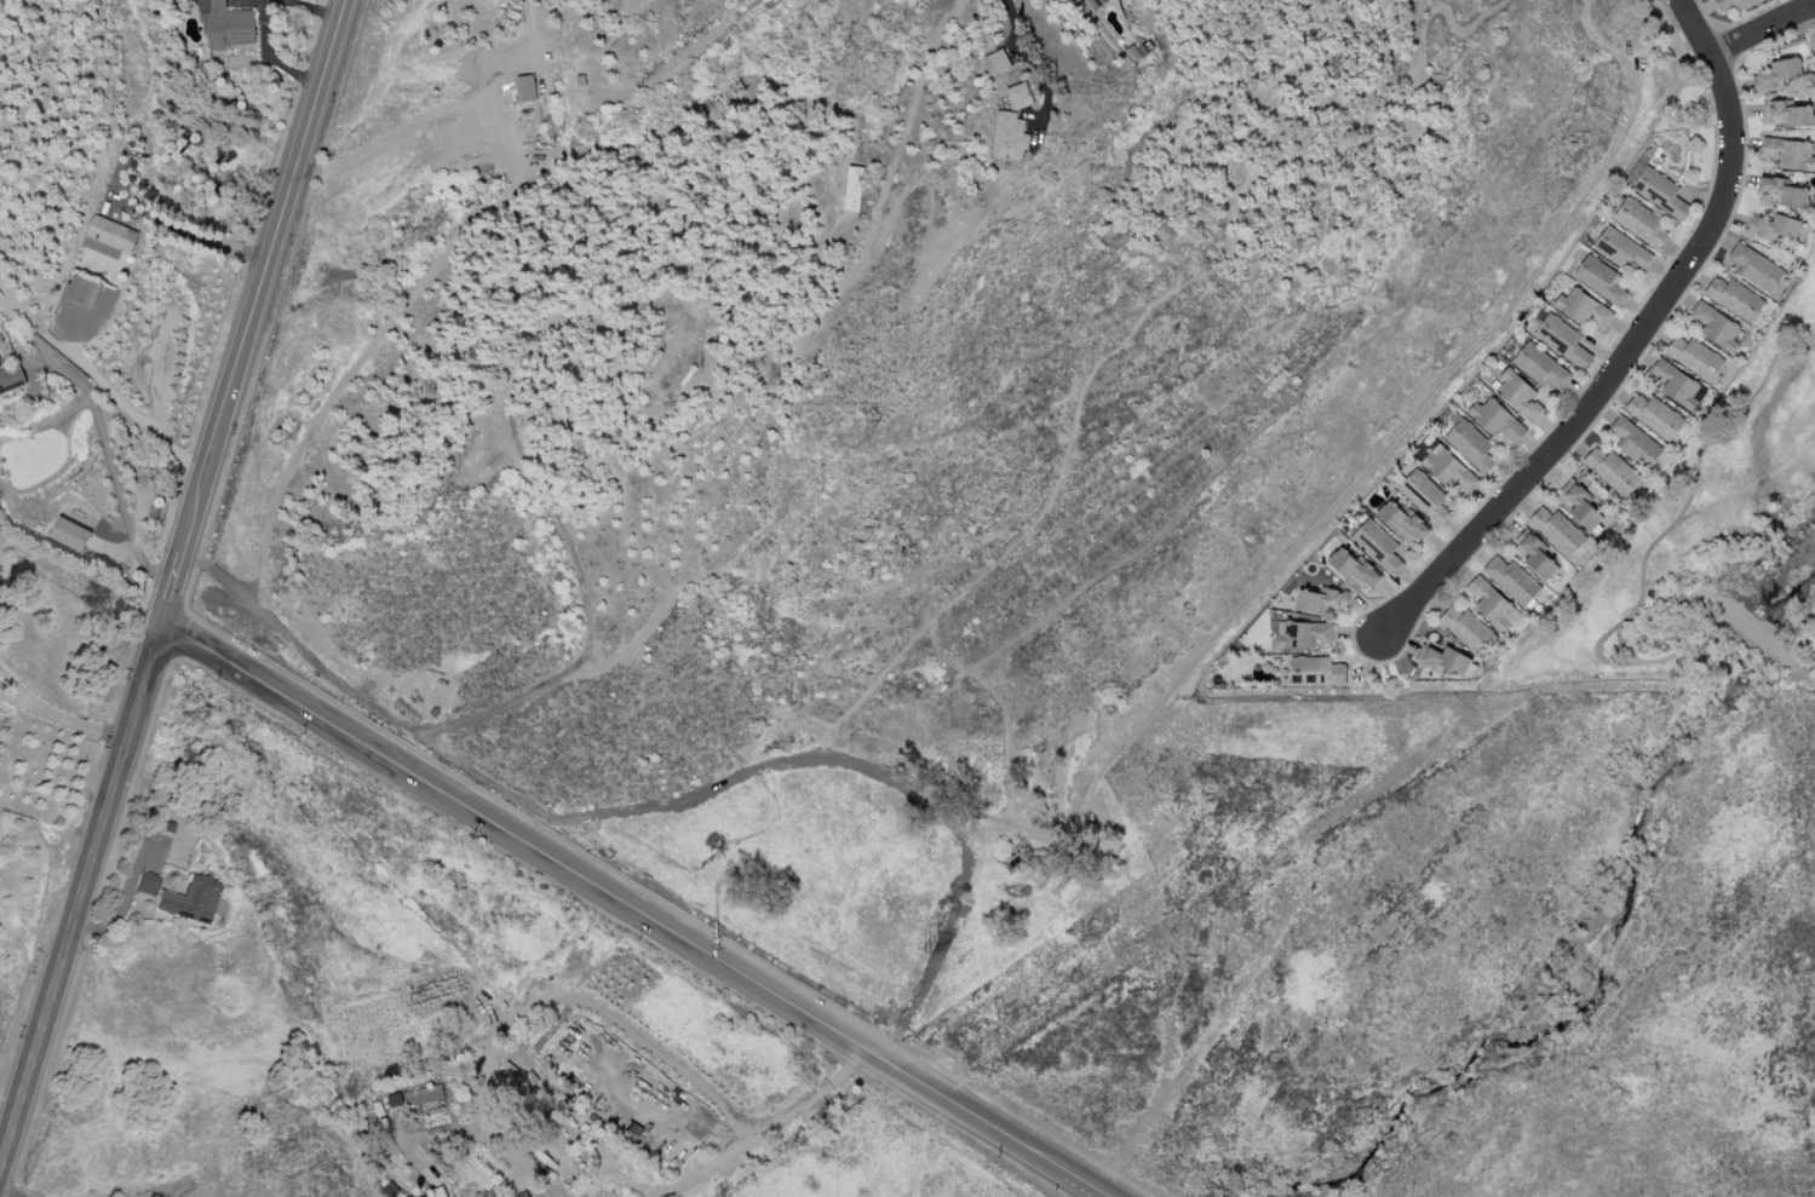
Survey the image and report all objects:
building: (1731, 4)
park: (1809, 13)
building: (228, 24)
road: (1764, 30)
road: (1024, 40)
building: (995, 61)
building: (1777, 74)
building: (527, 87)
building: (1019, 96)
building: (1787, 114)
road: (441, 116)
building: (1010, 137)
building: (1788, 152)
building: (852, 188)
building: (1784, 191)
building: (1659, 192)
building: (1639, 221)
building: (1775, 229)
road: (186, 232)
building: (109, 237)
building: (1621, 249)
building: (1756, 267)
building: (1601, 280)
building: (85, 292)
building: (1735, 298)
building: (1584, 309)
building: (1716, 326)
building: (1562, 340)
road: (1633, 345)
building: (1694, 357)
building: (1540, 366)
building: (11, 379)
building: (1675, 384)
building: (1518, 395)
road: (130, 401)
building: (1655, 415)
building: (1497, 420)
building: (1635, 443)
building: (1470, 445)
building: (1448, 470)
building: (1613, 471)
road: (113, 472)
building: (1424, 495)
building: (1580, 503)
building: (1401, 518)
building: (1557, 530)
building: (70, 534)
park: (1706, 536)
building: (1377, 545)
building: (1535, 554)
building: (1354, 566)
building: (1512, 580)
road: (172, 581)
building: (1321, 600)
building: (1491, 604)
building: (1467, 629)
building: (1304, 634)
building: (1442, 660)
building: (1316, 671)
road: (21, 690)
road: (18, 703)
road: (80, 724)
road: (593, 884)
building: (145, 885)
building: (189, 900)
road: (124, 902)
road: (544, 1002)
building: (417, 1097)
road: (765, 1123)
road: (1046, 1159)
road: (1081, 1181)
road: (1095, 1193)
road: (1102, 1193)
building: (421, 1195)
building: (523, 1195)

